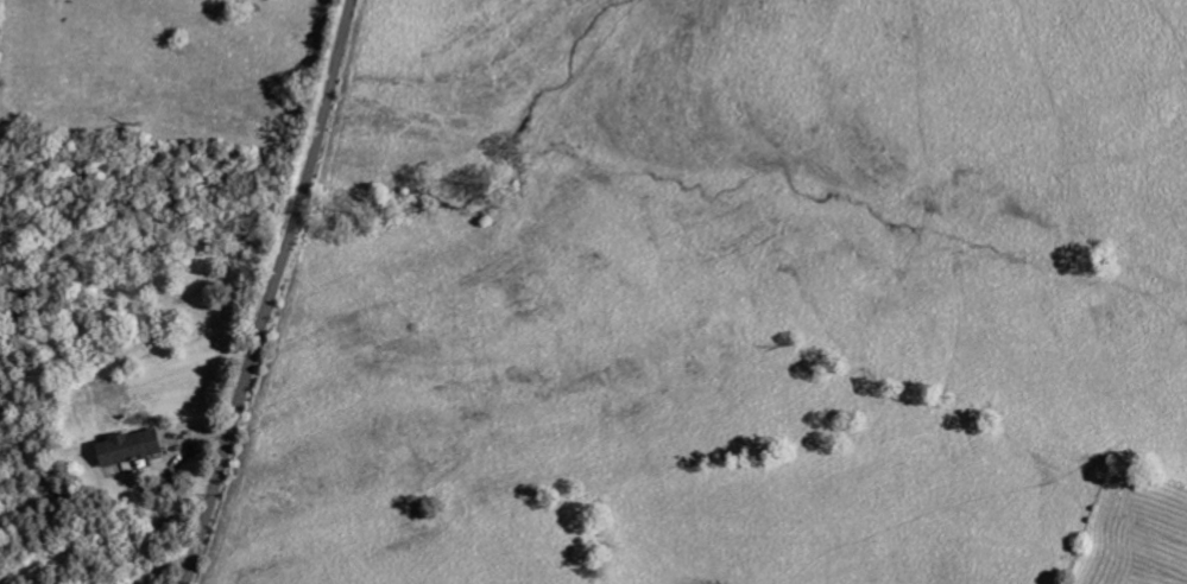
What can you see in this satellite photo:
road: (272, 292)
building: (137, 447)

